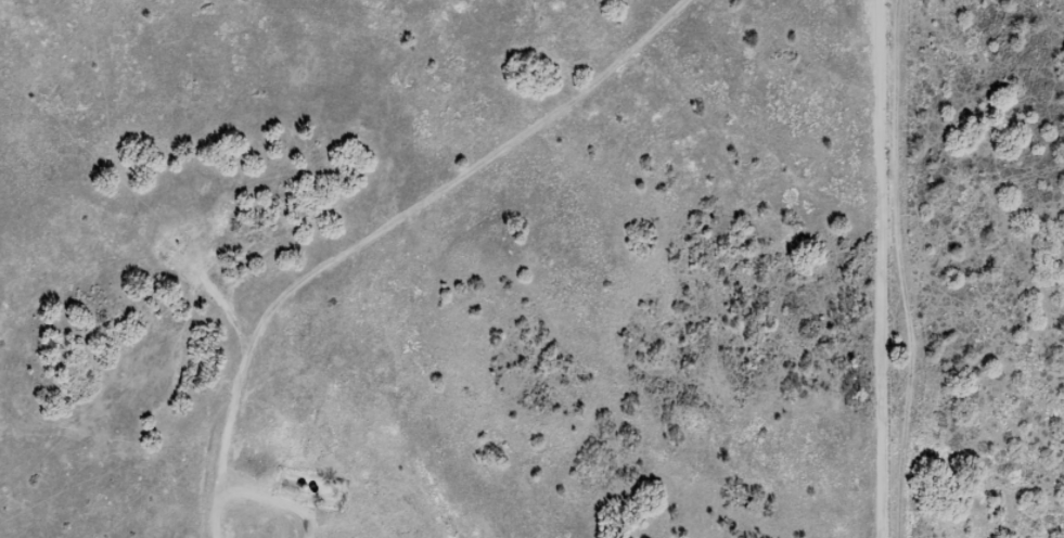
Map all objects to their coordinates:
road: (1009, 130)

